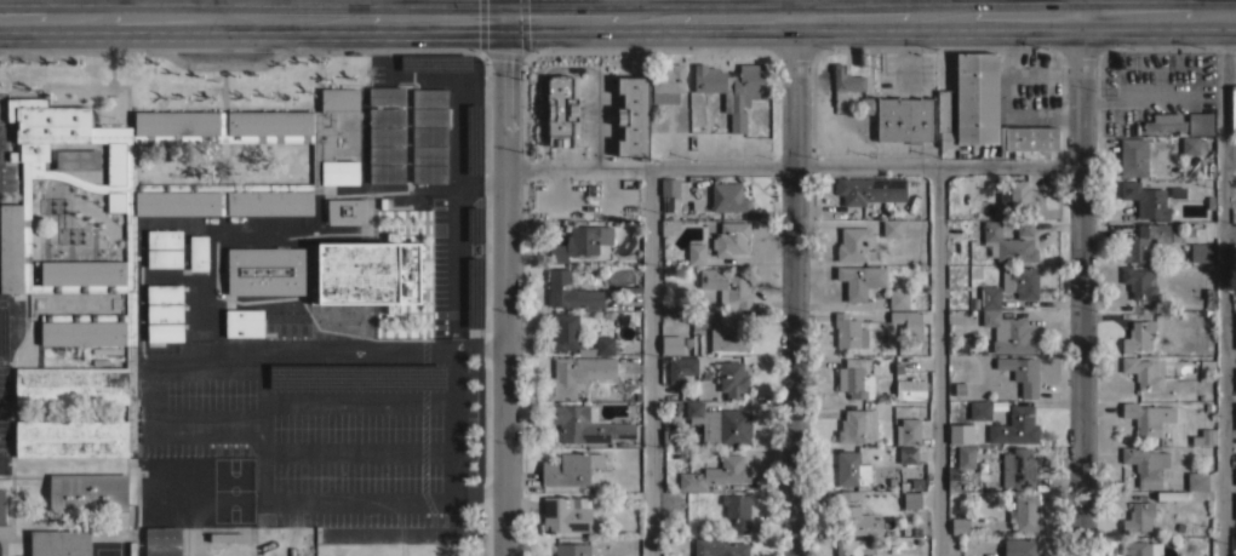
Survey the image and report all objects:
road: (1220, 6)
road: (213, 7)
road: (361, 7)
road: (926, 7)
road: (118, 8)
traffic signals: (500, 16)
road: (618, 16)
building: (437, 59)
building: (668, 84)
building: (732, 88)
building: (852, 88)
road: (481, 92)
building: (385, 94)
building: (429, 97)
building: (969, 102)
building: (1232, 107)
building: (560, 110)
building: (385, 116)
building: (429, 116)
building: (633, 116)
building: (905, 119)
building: (1165, 122)
building: (1200, 122)
building: (385, 134)
building: (429, 134)
building: (470, 138)
building: (1028, 141)
building: (1190, 144)
building: (385, 154)
building: (429, 154)
building: (1133, 156)
building: (78, 159)
road: (791, 165)
building: (429, 172)
building: (385, 173)
building: (669, 187)
road: (366, 189)
building: (870, 189)
building: (1177, 191)
building: (728, 196)
building: (1020, 196)
building: (1146, 199)
building: (1209, 202)
building: (345, 210)
road: (456, 222)
building: (468, 222)
building: (246, 224)
building: (669, 225)
building: (891, 227)
building: (1189, 231)
building: (164, 237)
building: (731, 237)
building: (1146, 240)
building: (133, 241)
building: (580, 241)
building: (1009, 241)
building: (854, 245)
building: (198, 252)
building: (1201, 252)
building: (1234, 252)
building: (696, 253)
building: (164, 257)
building: (265, 270)
building: (368, 273)
road: (504, 277)
road: (794, 277)
road: (1080, 277)
building: (860, 280)
building: (1020, 280)
building: (1139, 281)
road: (1223, 283)
building: (727, 287)
building: (469, 291)
building: (570, 292)
building: (164, 293)
building: (990, 297)
building: (898, 298)
building: (1208, 298)
building: (164, 313)
building: (1149, 314)
building: (908, 320)
building: (247, 322)
building: (848, 331)
building: (165, 332)
building: (1008, 332)
building: (729, 333)
building: (574, 336)
building: (1138, 336)
building: (963, 343)
building: (671, 344)
road: (938, 360)
road: (646, 361)
building: (1206, 362)
building: (681, 367)
building: (898, 367)
building: (1020, 372)
building: (1141, 372)
building: (356, 374)
building: (577, 374)
building: (733, 378)
building: (854, 379)
road: (262, 384)
building: (910, 388)
building: (959, 389)
road: (359, 400)
building: (980, 409)
building: (1148, 415)
road: (155, 420)
building: (720, 423)
building: (586, 424)
building: (858, 425)
building: (1015, 426)
building: (908, 431)
building: (956, 432)
building: (670, 436)
building: (1204, 436)
road: (357, 451)
building: (908, 453)
building: (966, 455)
building: (1145, 464)
building: (570, 468)
building: (1018, 468)
building: (851, 469)
building: (715, 472)
building: (952, 477)
building: (1197, 480)
building: (87, 492)
building: (1169, 495)
building: (911, 499)
building: (1, 506)
building: (737, 511)
building: (1024, 512)
building: (566, 514)
building: (856, 516)
building: (1138, 516)
building: (960, 526)
building: (162, 535)
building: (227, 537)
building: (59, 543)
building: (1235, 544)
building: (854, 546)
building: (1020, 546)
building: (1135, 546)
building: (719, 548)
building: (572, 549)
building: (162, 551)

